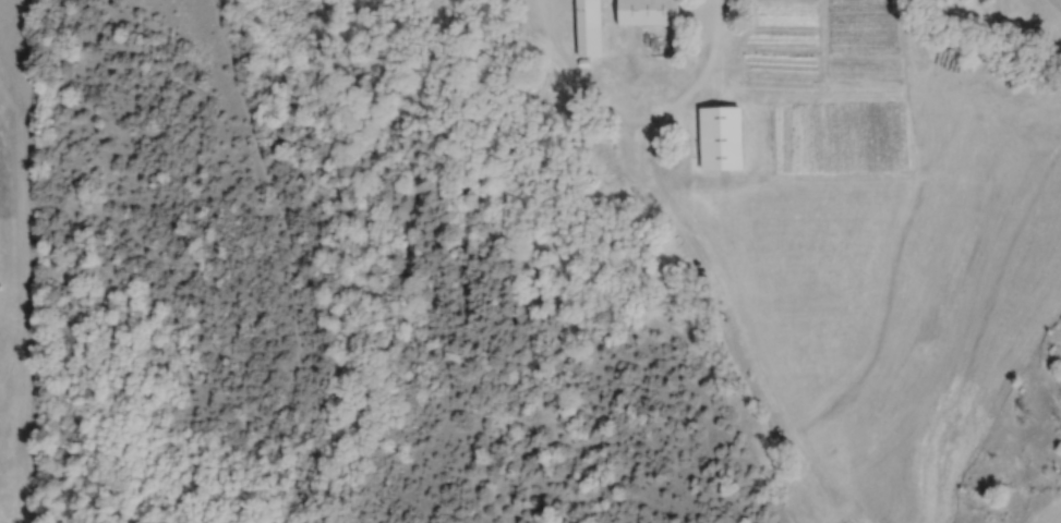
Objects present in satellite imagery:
building: (646, 12)
building: (587, 27)
road: (637, 119)

